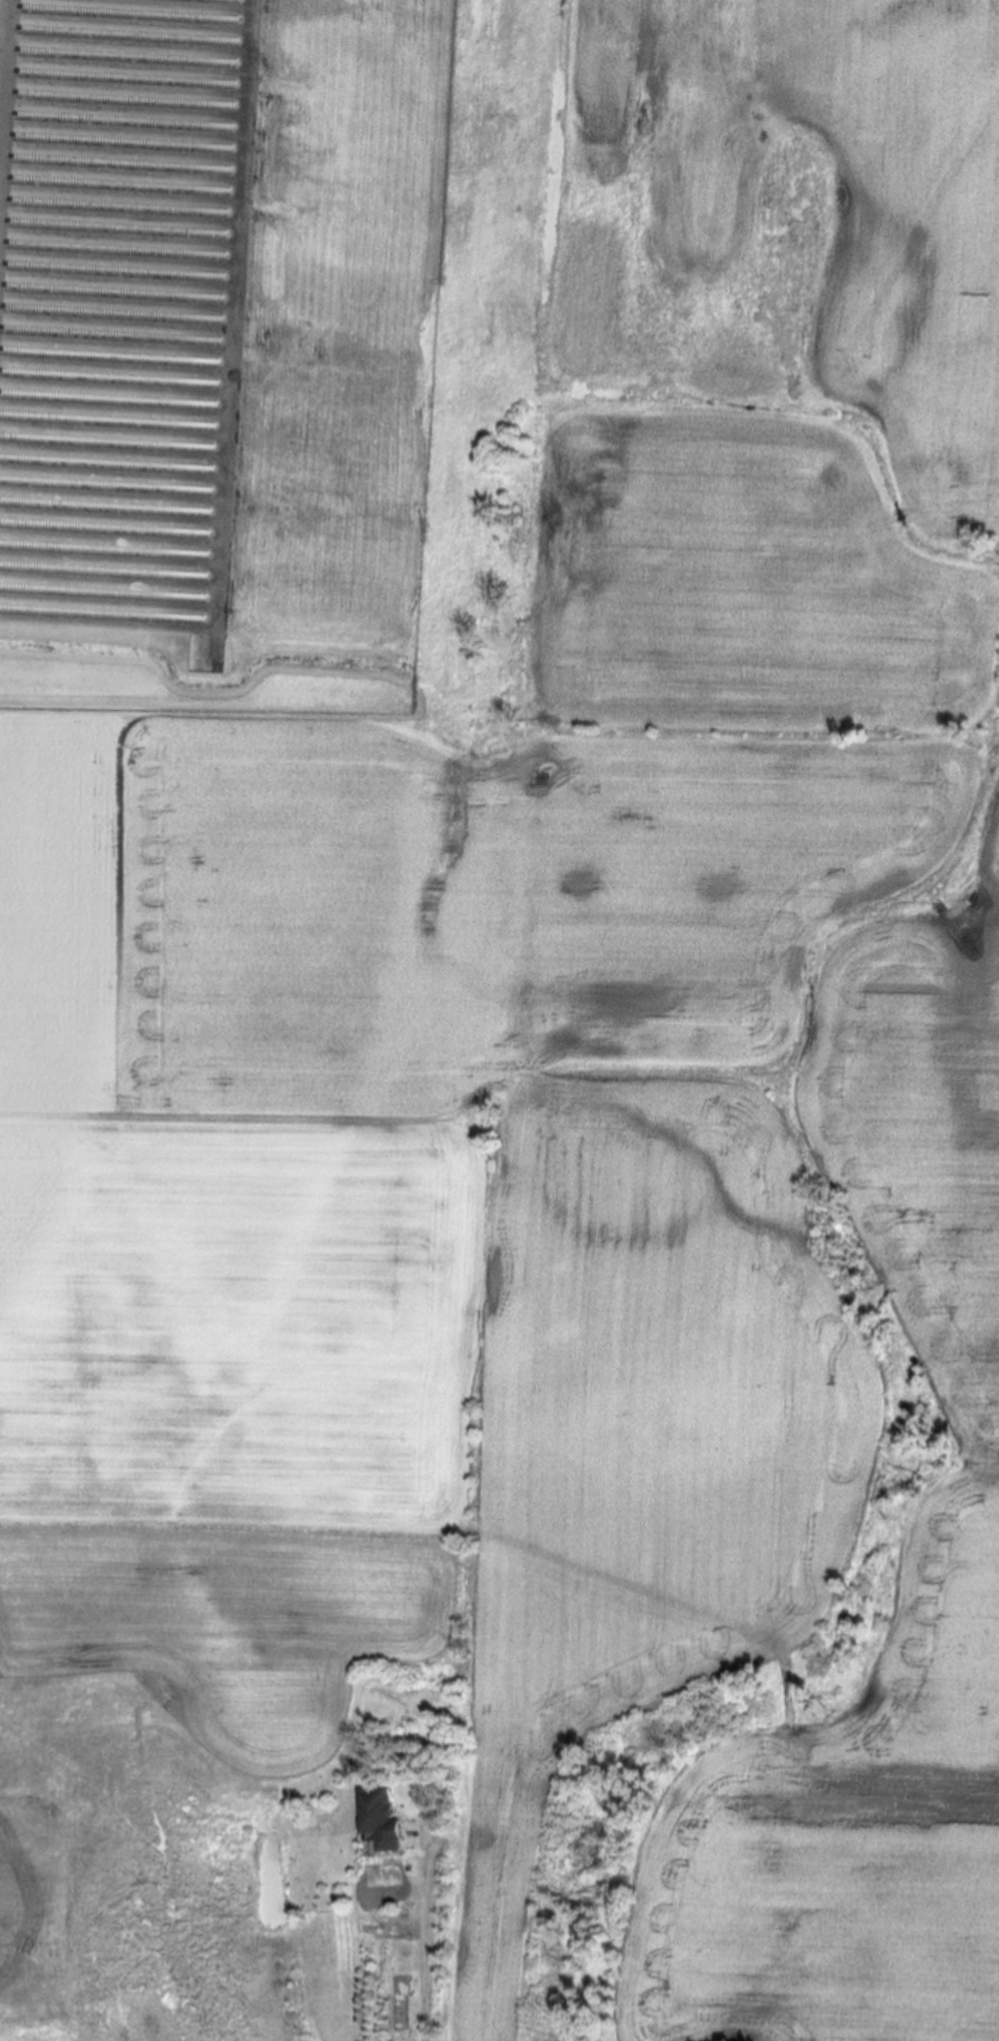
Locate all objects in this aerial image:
road: (0, 6)
building: (386, 1821)
road: (426, 1939)

